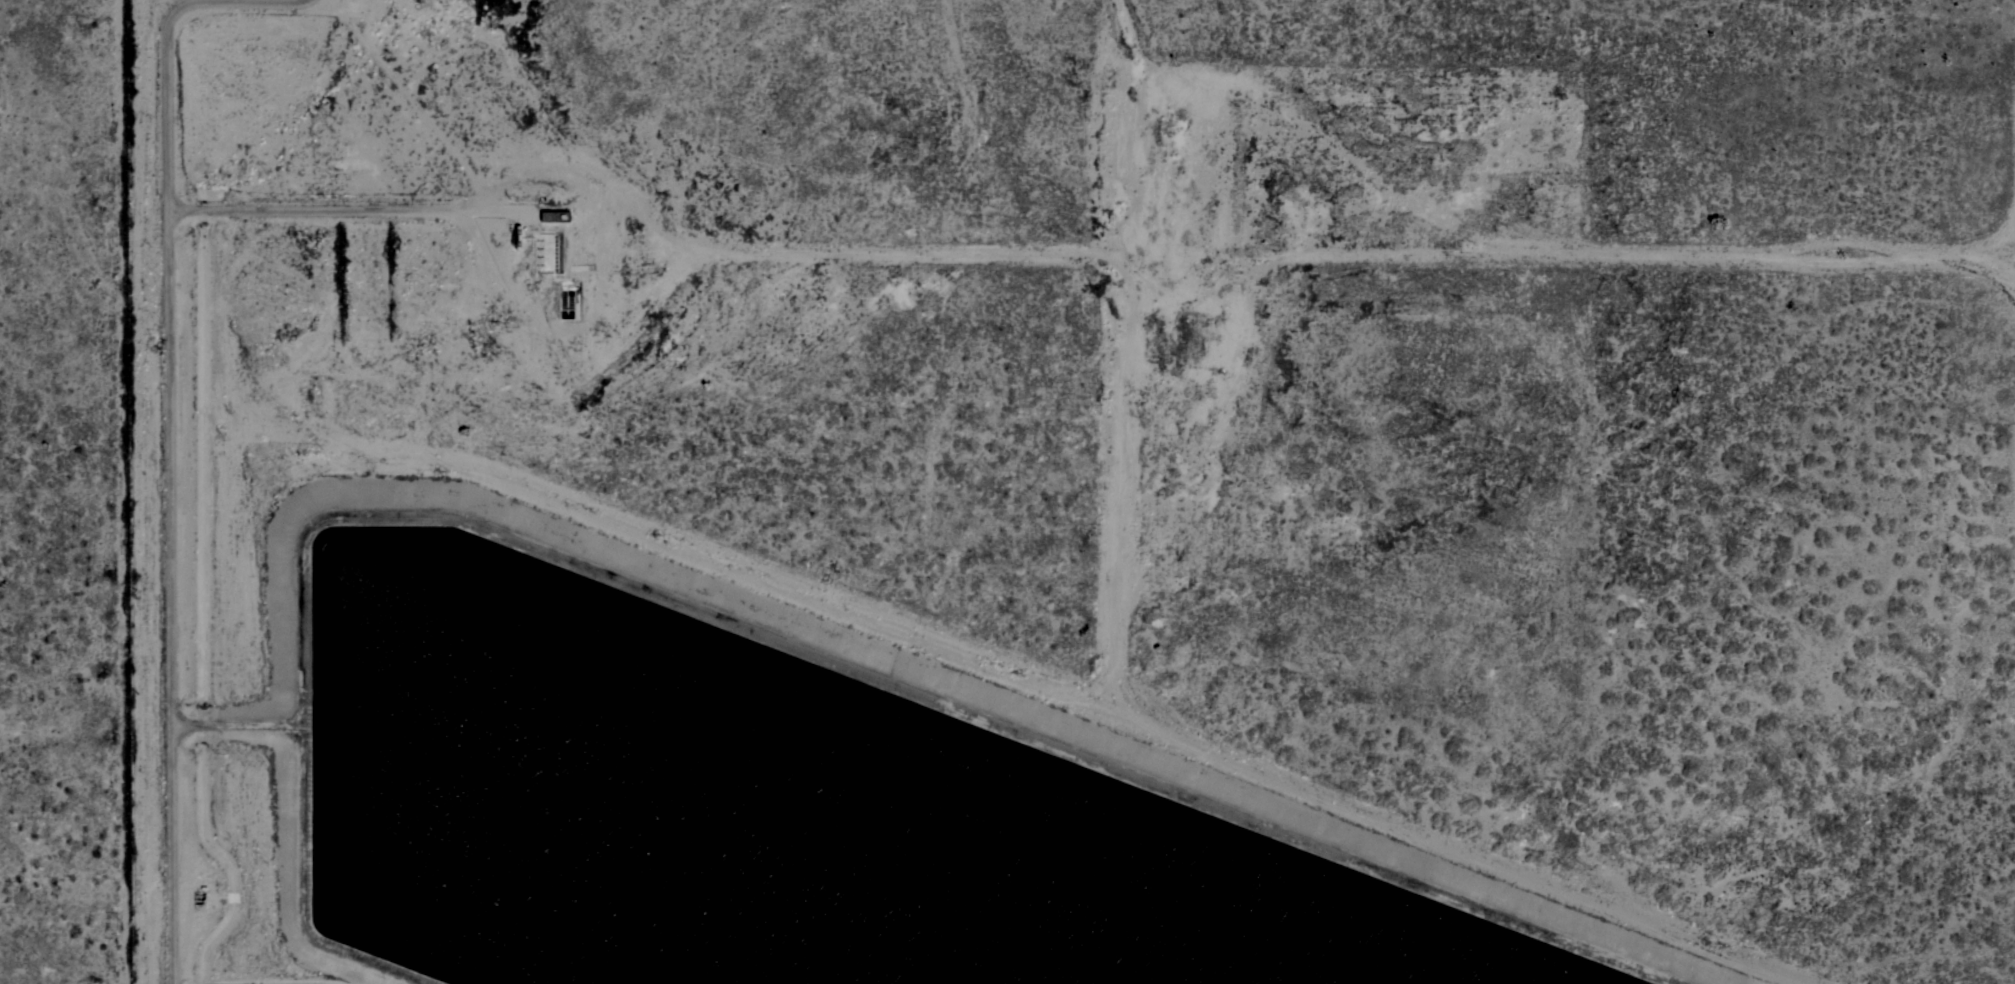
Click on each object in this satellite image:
road: (350, 209)
building: (554, 216)
road: (175, 429)
wastewater plant: (787, 799)

